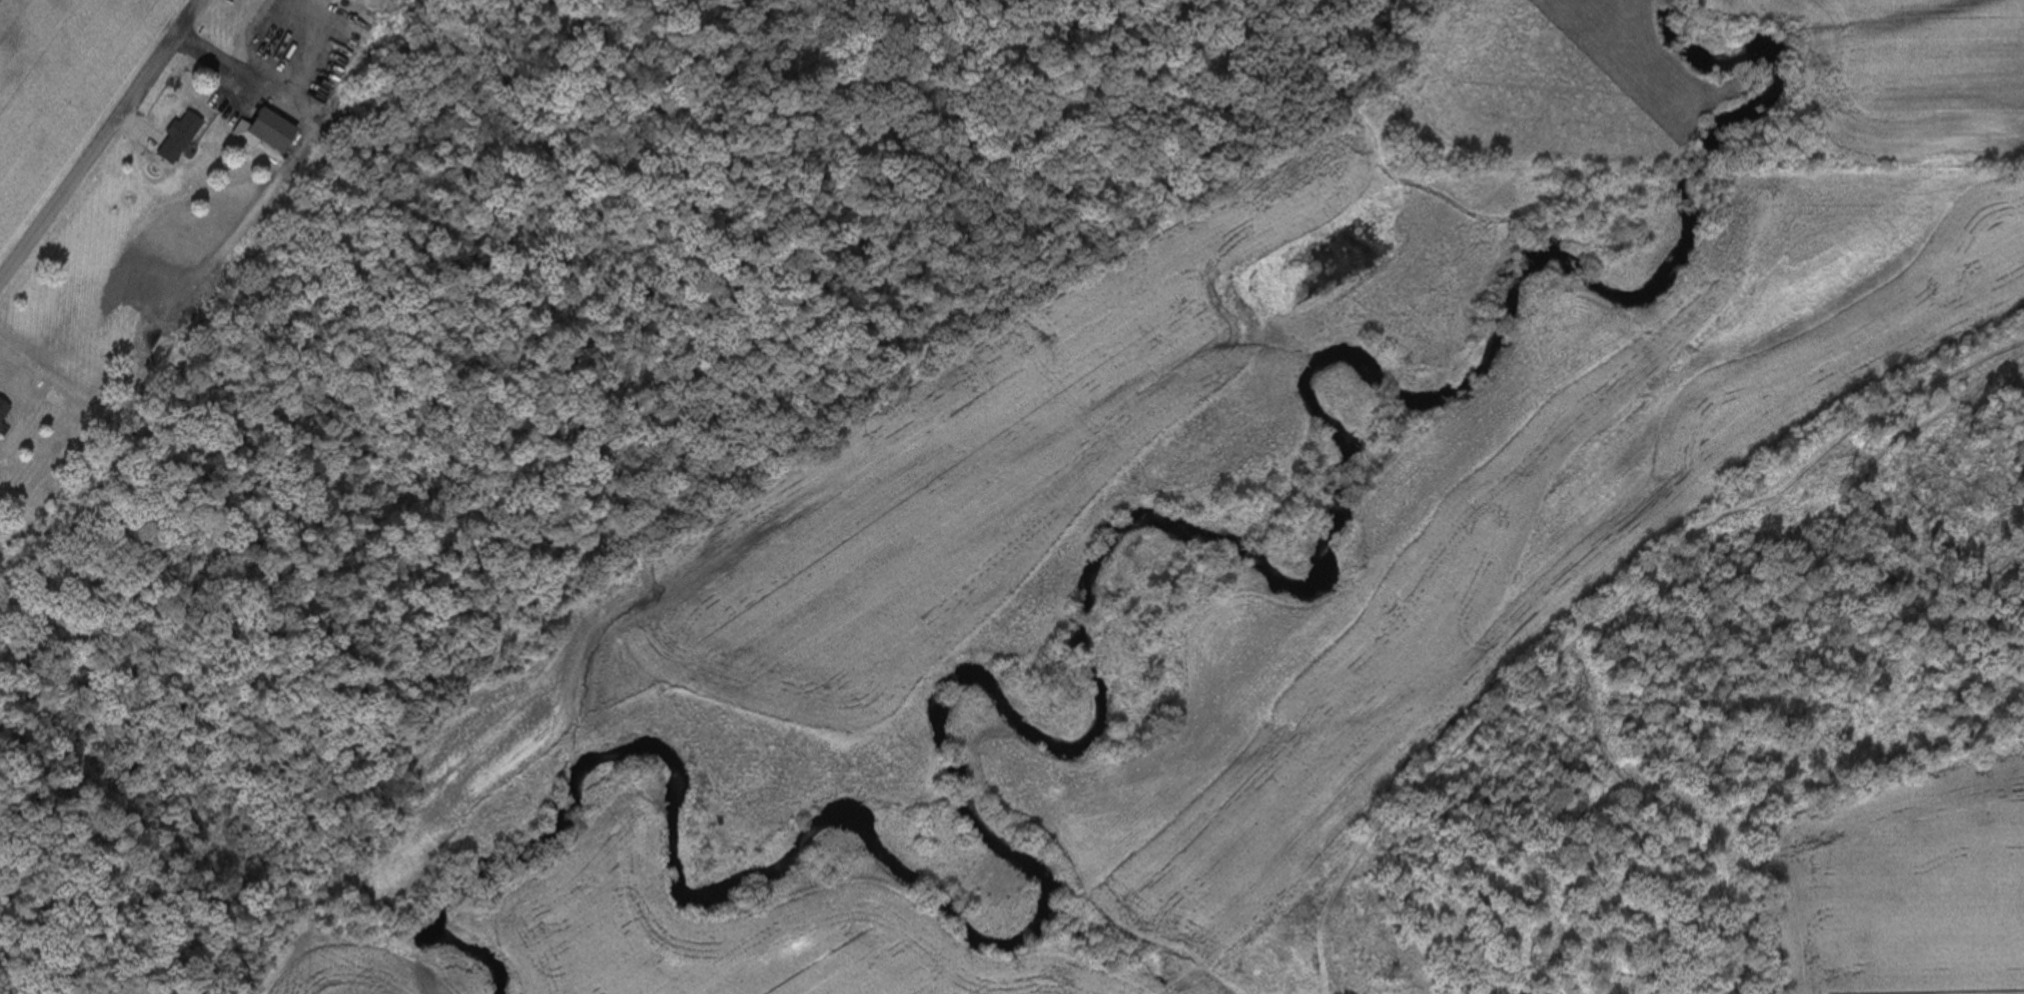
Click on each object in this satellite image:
building: (272, 133)
building: (184, 138)
road: (102, 142)
building: (75, 320)
building: (4, 409)

